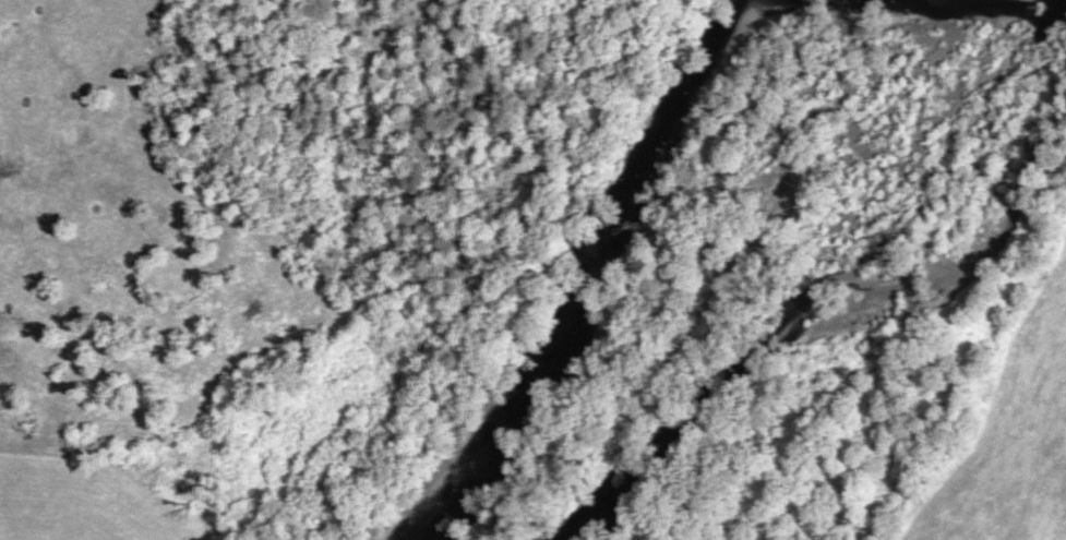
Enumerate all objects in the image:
river: (592, 278)

